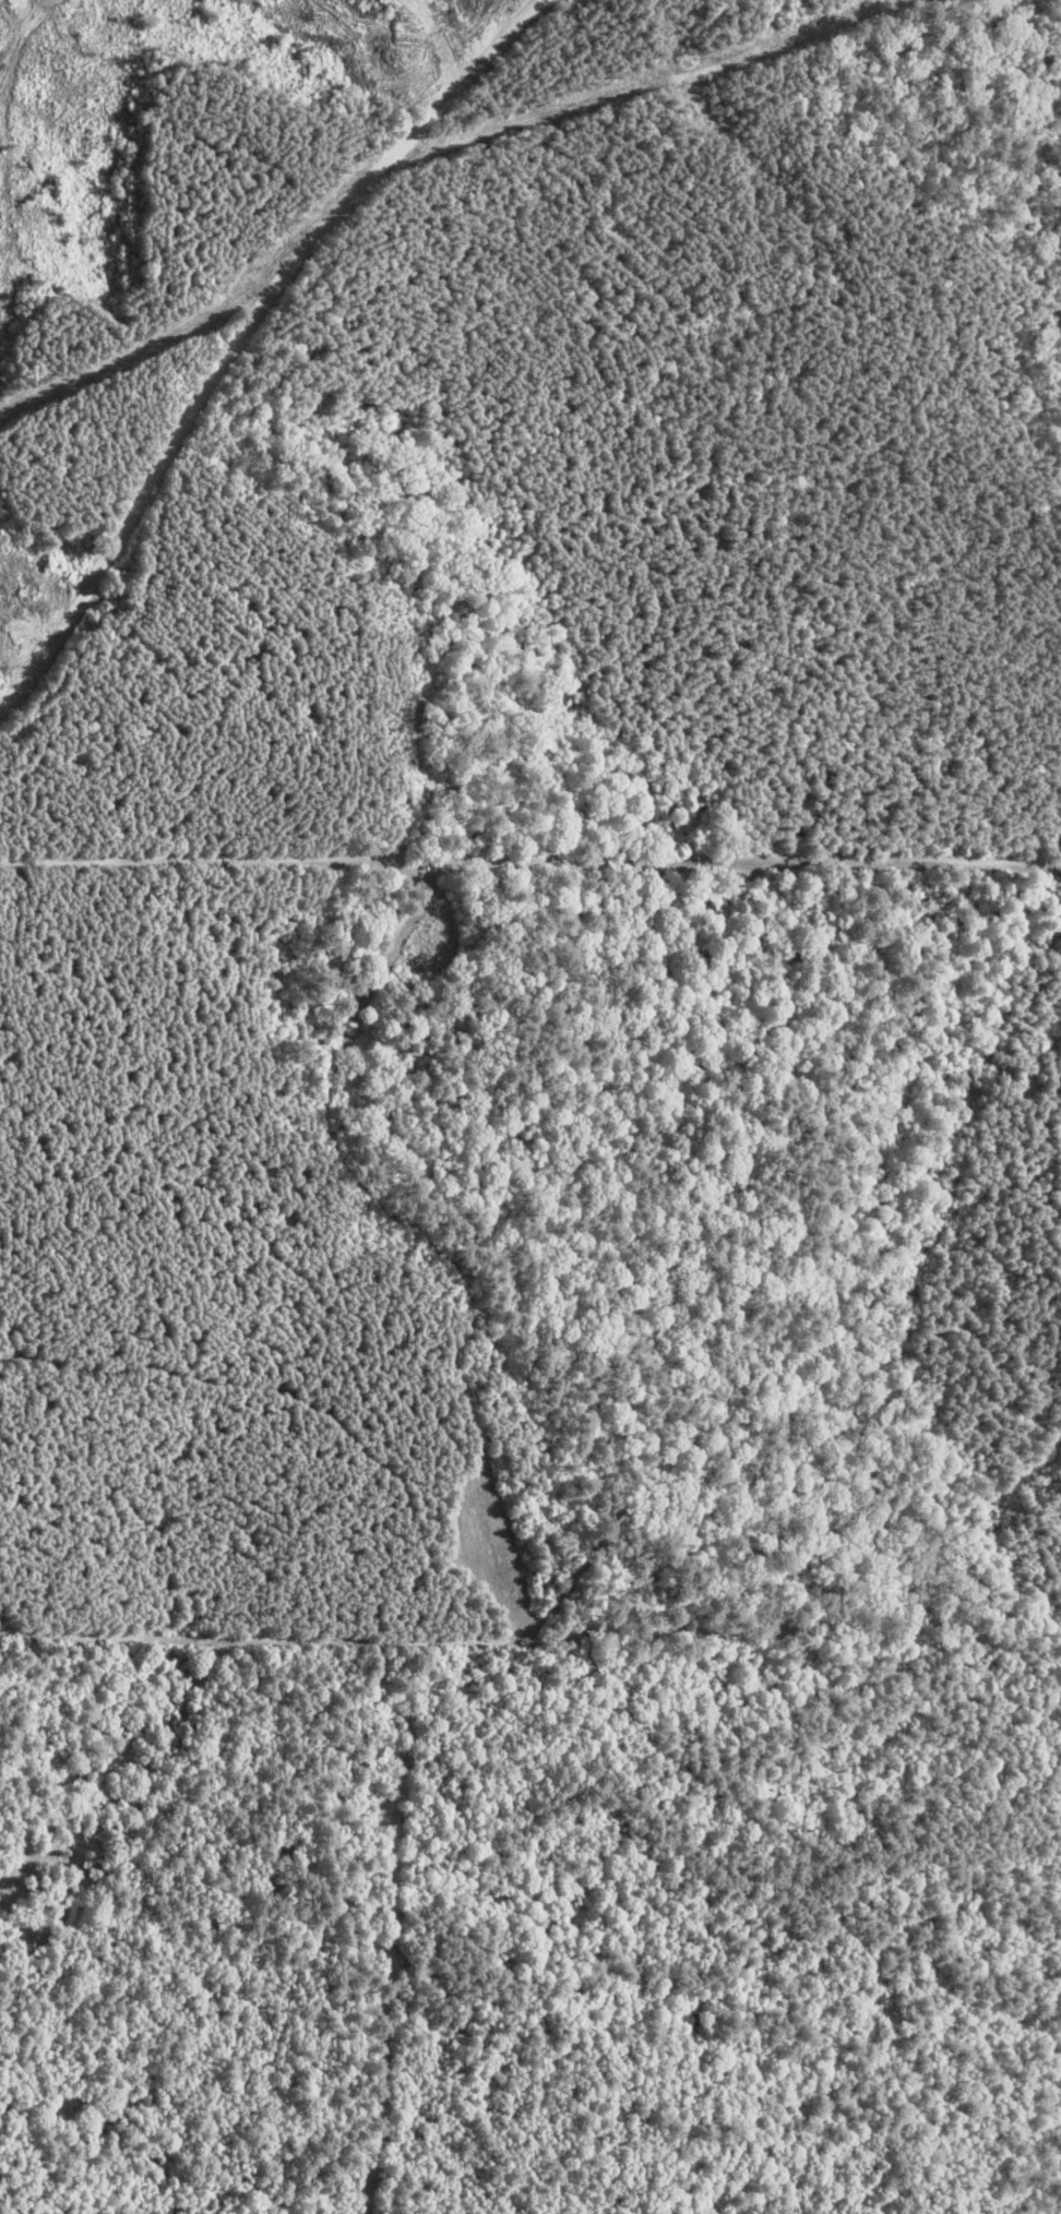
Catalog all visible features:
road: (246, 334)

